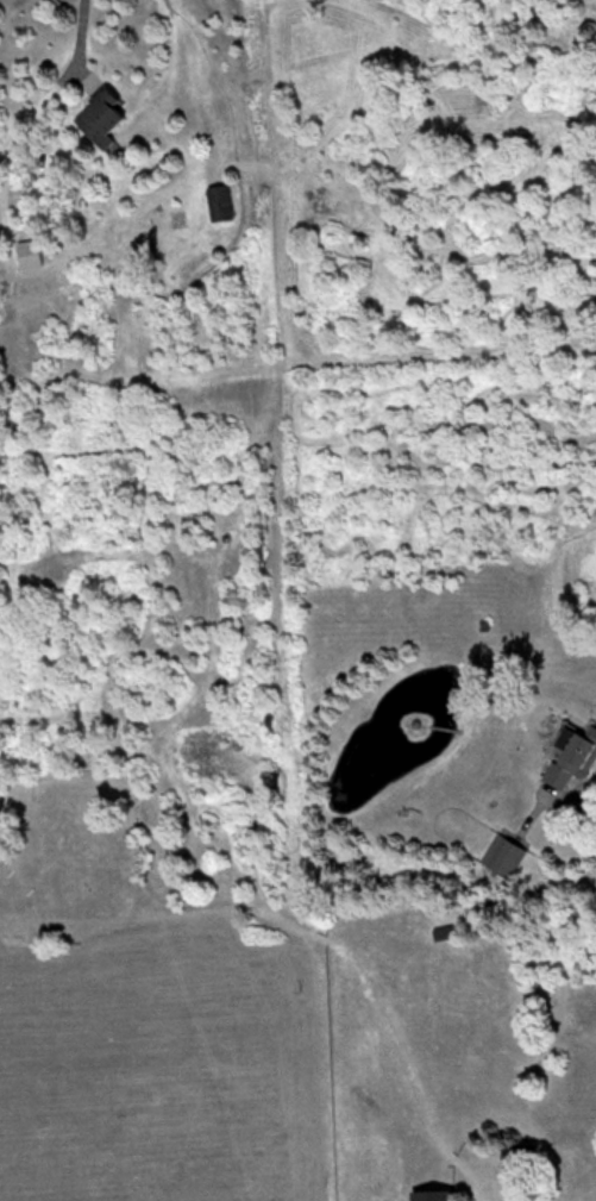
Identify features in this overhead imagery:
road: (82, 30)
building: (100, 115)
building: (220, 200)
building: (29, 251)
building: (571, 755)
building: (503, 856)
building: (520, 1153)
building: (431, 1193)

